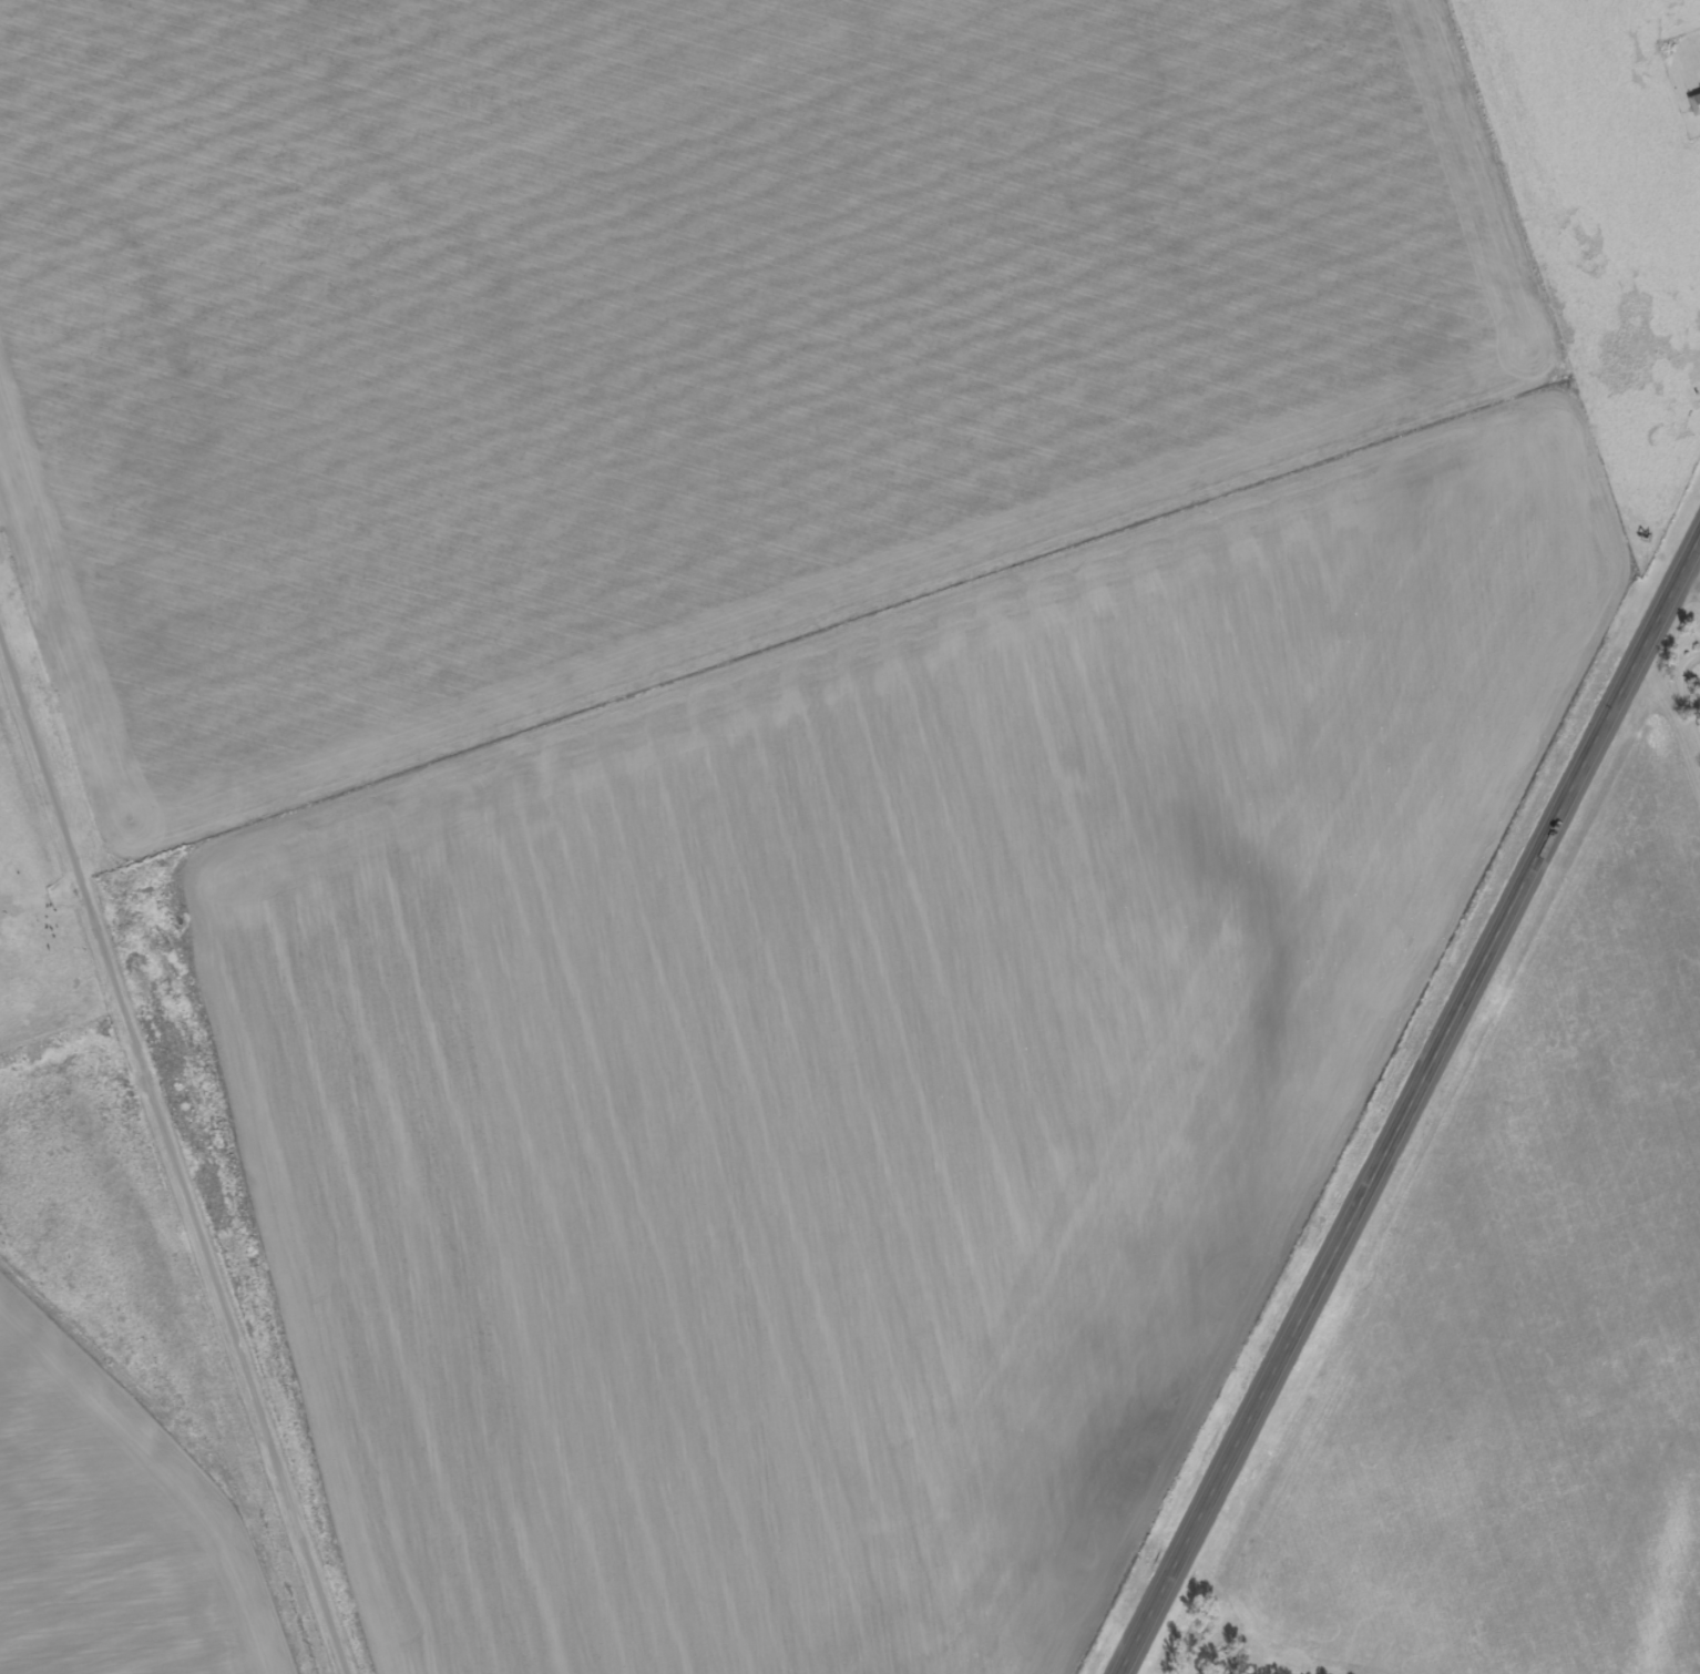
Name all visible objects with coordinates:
building: (1696, 105)
road: (1697, 552)
road: (1694, 672)
park: (1690, 684)
road: (1694, 688)
road: (1409, 1105)
road: (175, 1147)

